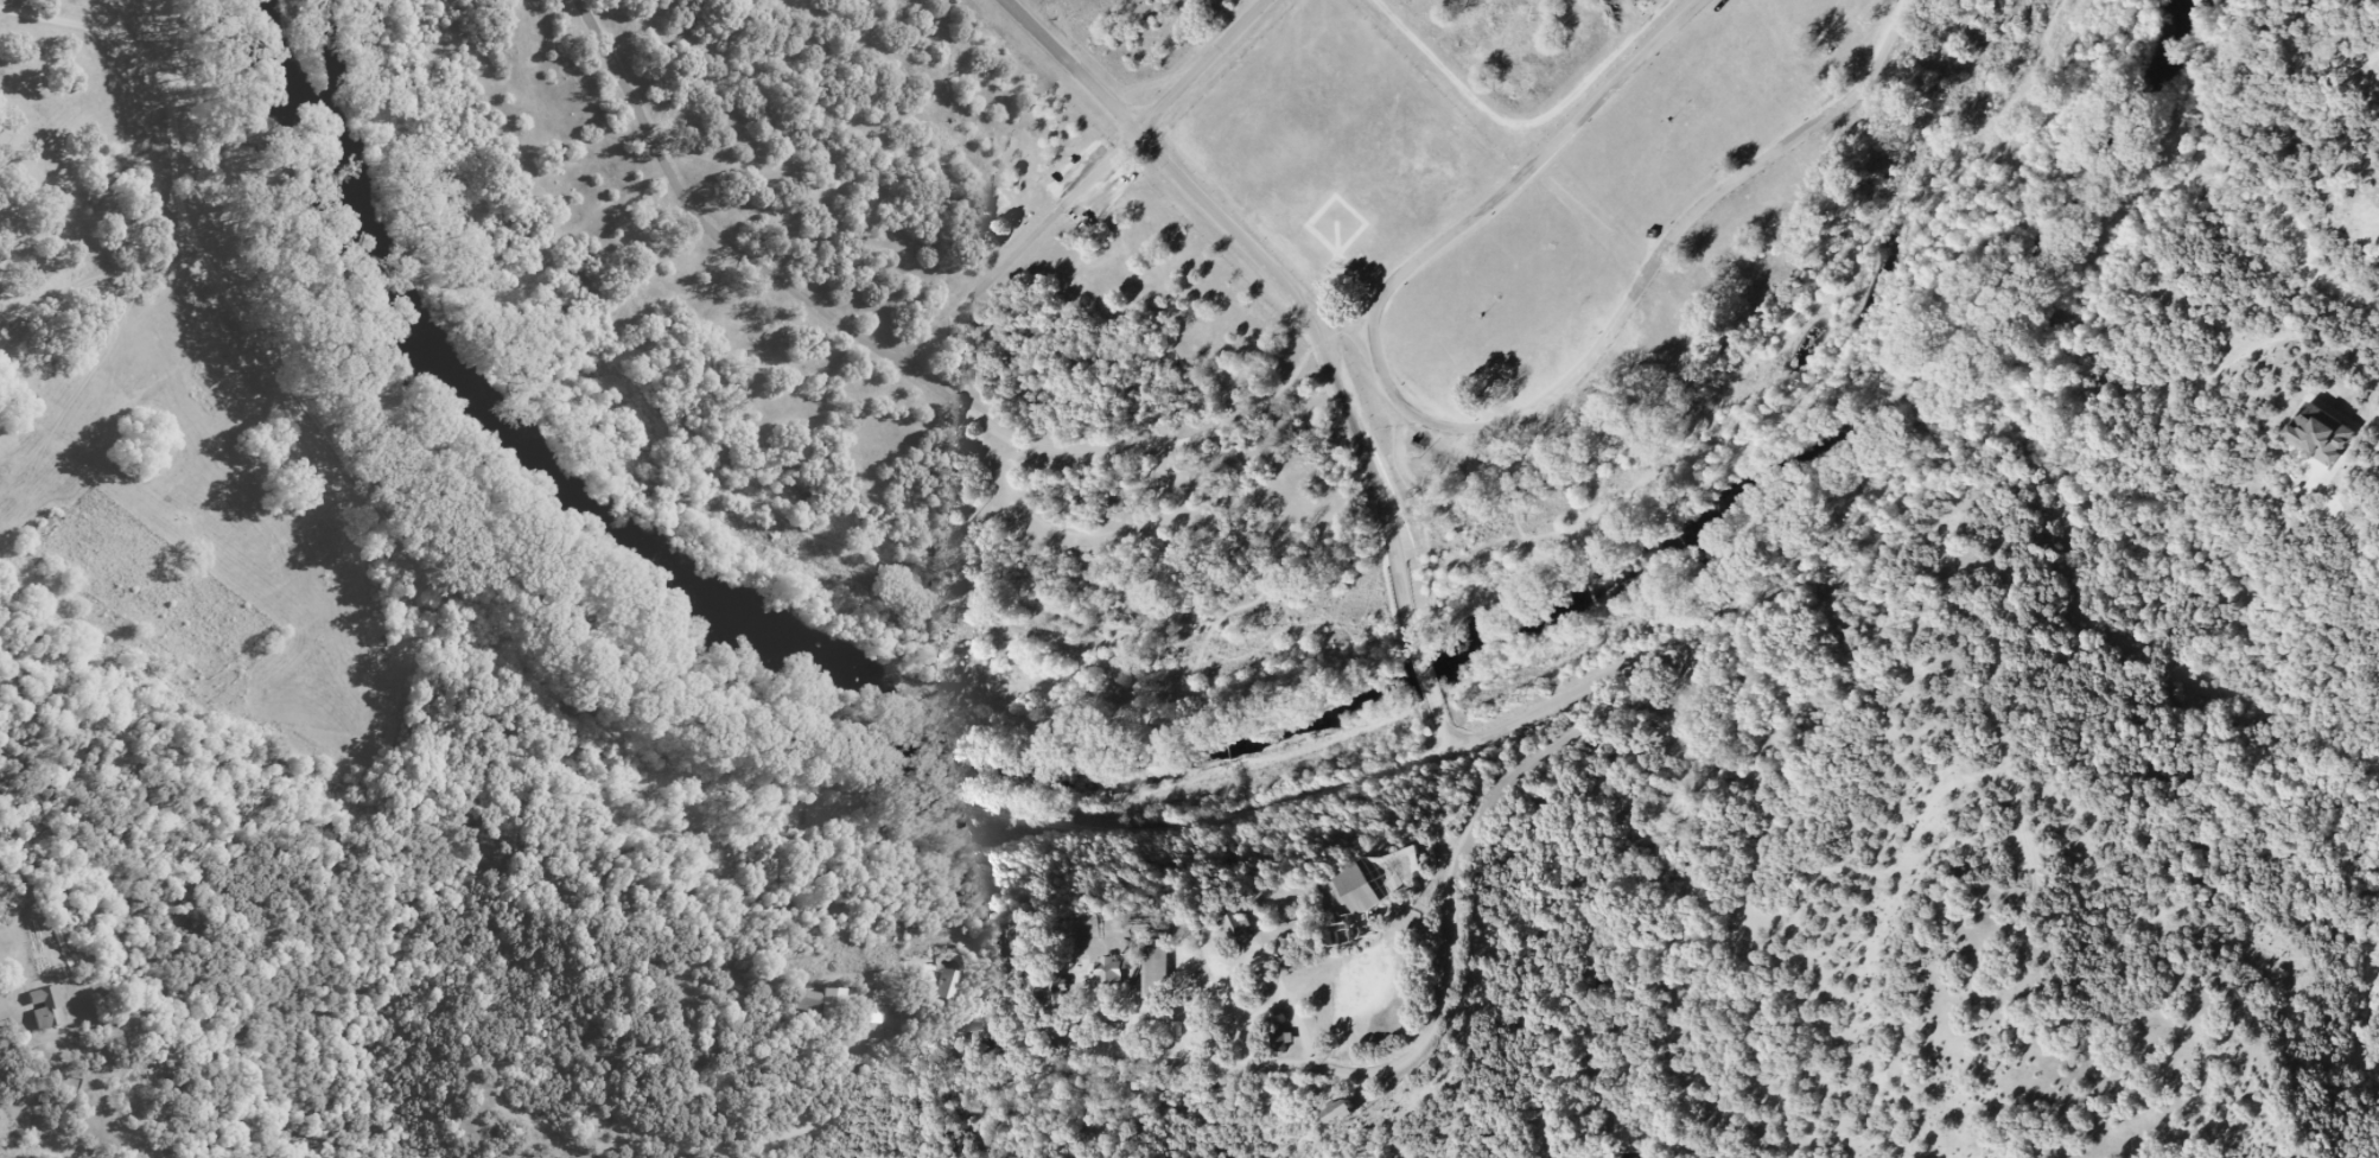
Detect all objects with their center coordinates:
road: (1209, 64)
road: (611, 79)
road: (1527, 183)
road: (1026, 246)
road: (1260, 265)
road: (90, 285)
road: (1641, 286)
road: (831, 317)
road: (1420, 613)
road: (568, 658)
road: (1436, 663)
road: (1446, 695)
river: (1190, 740)
building: (1369, 877)
building: (1223, 920)
road: (1445, 947)
building: (1152, 962)
building: (1105, 969)
building: (933, 986)
building: (804, 1000)
building: (867, 1006)
building: (45, 1007)
building: (1276, 1041)
road: (784, 1082)
road: (802, 1100)
road: (28, 1107)
road: (780, 1149)
road: (743, 1154)

